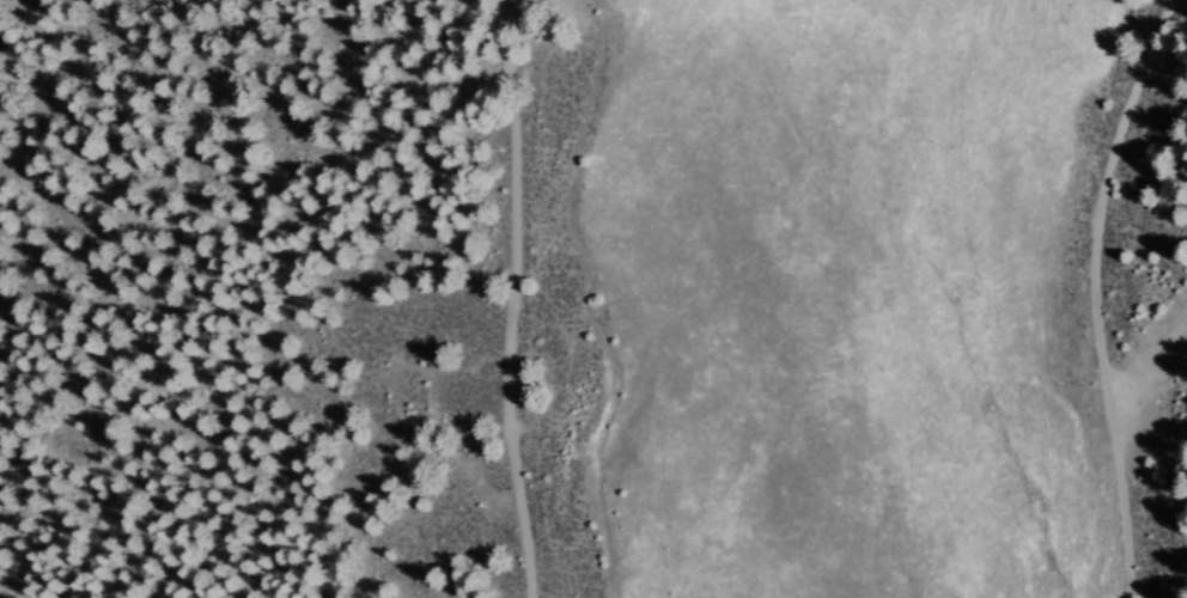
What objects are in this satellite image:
road: (548, 292)
road: (1113, 297)

